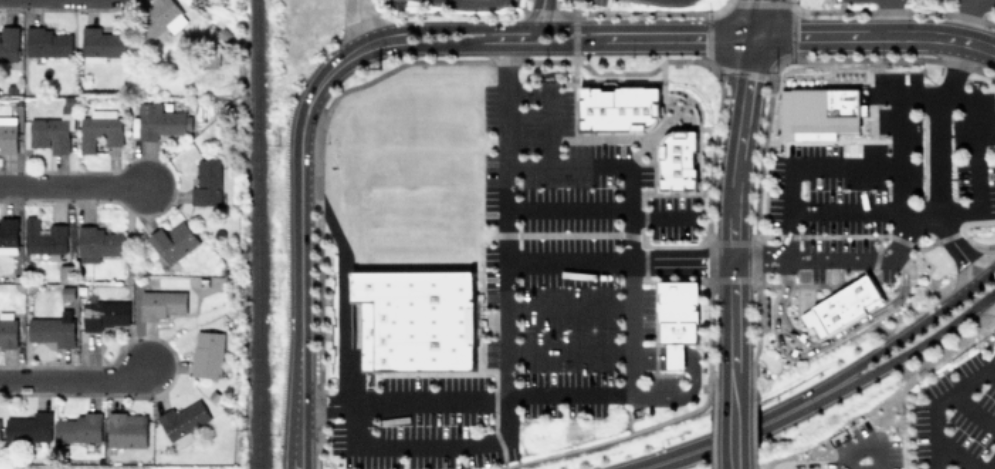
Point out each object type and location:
parking lot: (514, 0)
parking lot: (596, 1)
parking lot: (671, 1)
parking lot: (390, 2)
road: (539, 13)
road: (888, 17)
building: (160, 18)
road: (759, 18)
road: (967, 20)
road: (361, 23)
road: (449, 28)
road: (563, 28)
road: (859, 35)
road: (572, 37)
road: (683, 37)
traffic signals: (756, 38)
road: (503, 39)
building: (46, 42)
road: (978, 44)
building: (101, 45)
road: (499, 46)
road: (973, 97)
road: (549, 105)
building: (621, 107)
building: (819, 109)
building: (160, 121)
road: (938, 124)
building: (53, 129)
building: (99, 129)
building: (7, 134)
building: (678, 159)
road: (616, 165)
road: (821, 168)
parking lot: (883, 171)
building: (207, 183)
road: (69, 186)
road: (568, 209)
road: (852, 212)
road: (733, 215)
road: (663, 216)
road: (299, 232)
railway: (254, 234)
building: (8, 235)
building: (44, 237)
building: (98, 242)
building: (174, 242)
road: (955, 248)
road: (847, 259)
road: (568, 263)
building: (66, 273)
road: (987, 274)
road: (631, 279)
road: (342, 288)
road: (989, 295)
road: (993, 295)
parking lot: (533, 297)
building: (161, 304)
building: (843, 304)
road: (569, 306)
building: (104, 314)
building: (416, 317)
building: (677, 317)
building: (7, 329)
building: (53, 329)
road: (910, 330)
road: (507, 335)
road: (797, 336)
road: (823, 343)
road: (916, 345)
road: (569, 349)
building: (207, 354)
road: (649, 357)
road: (675, 357)
road: (73, 379)
road: (682, 396)
road: (466, 401)
road: (937, 402)
road: (973, 409)
road: (784, 411)
parking lot: (956, 416)
building: (182, 422)
building: (29, 428)
building: (79, 428)
building: (126, 430)
road: (733, 431)
road: (866, 443)
parking lot: (864, 448)
road: (682, 453)
road: (957, 455)
road: (811, 463)
road: (992, 465)

